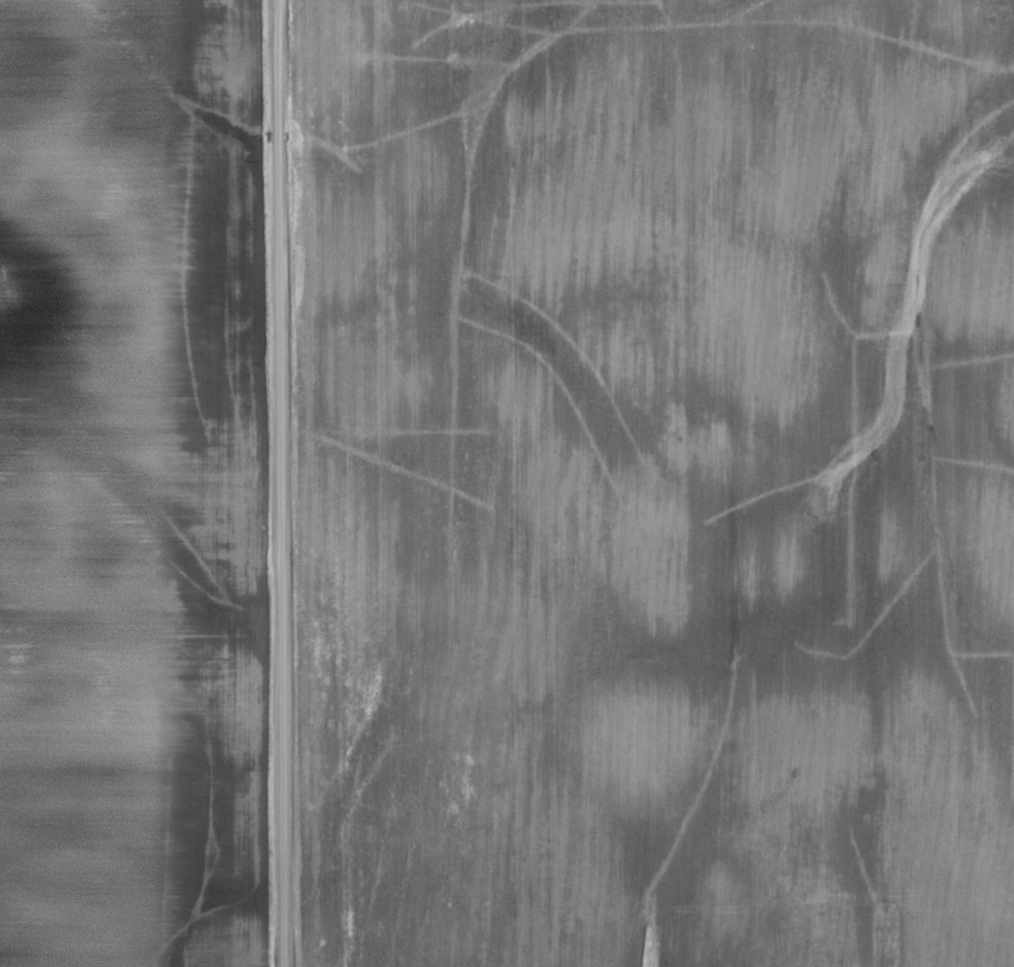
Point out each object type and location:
road: (281, 483)

